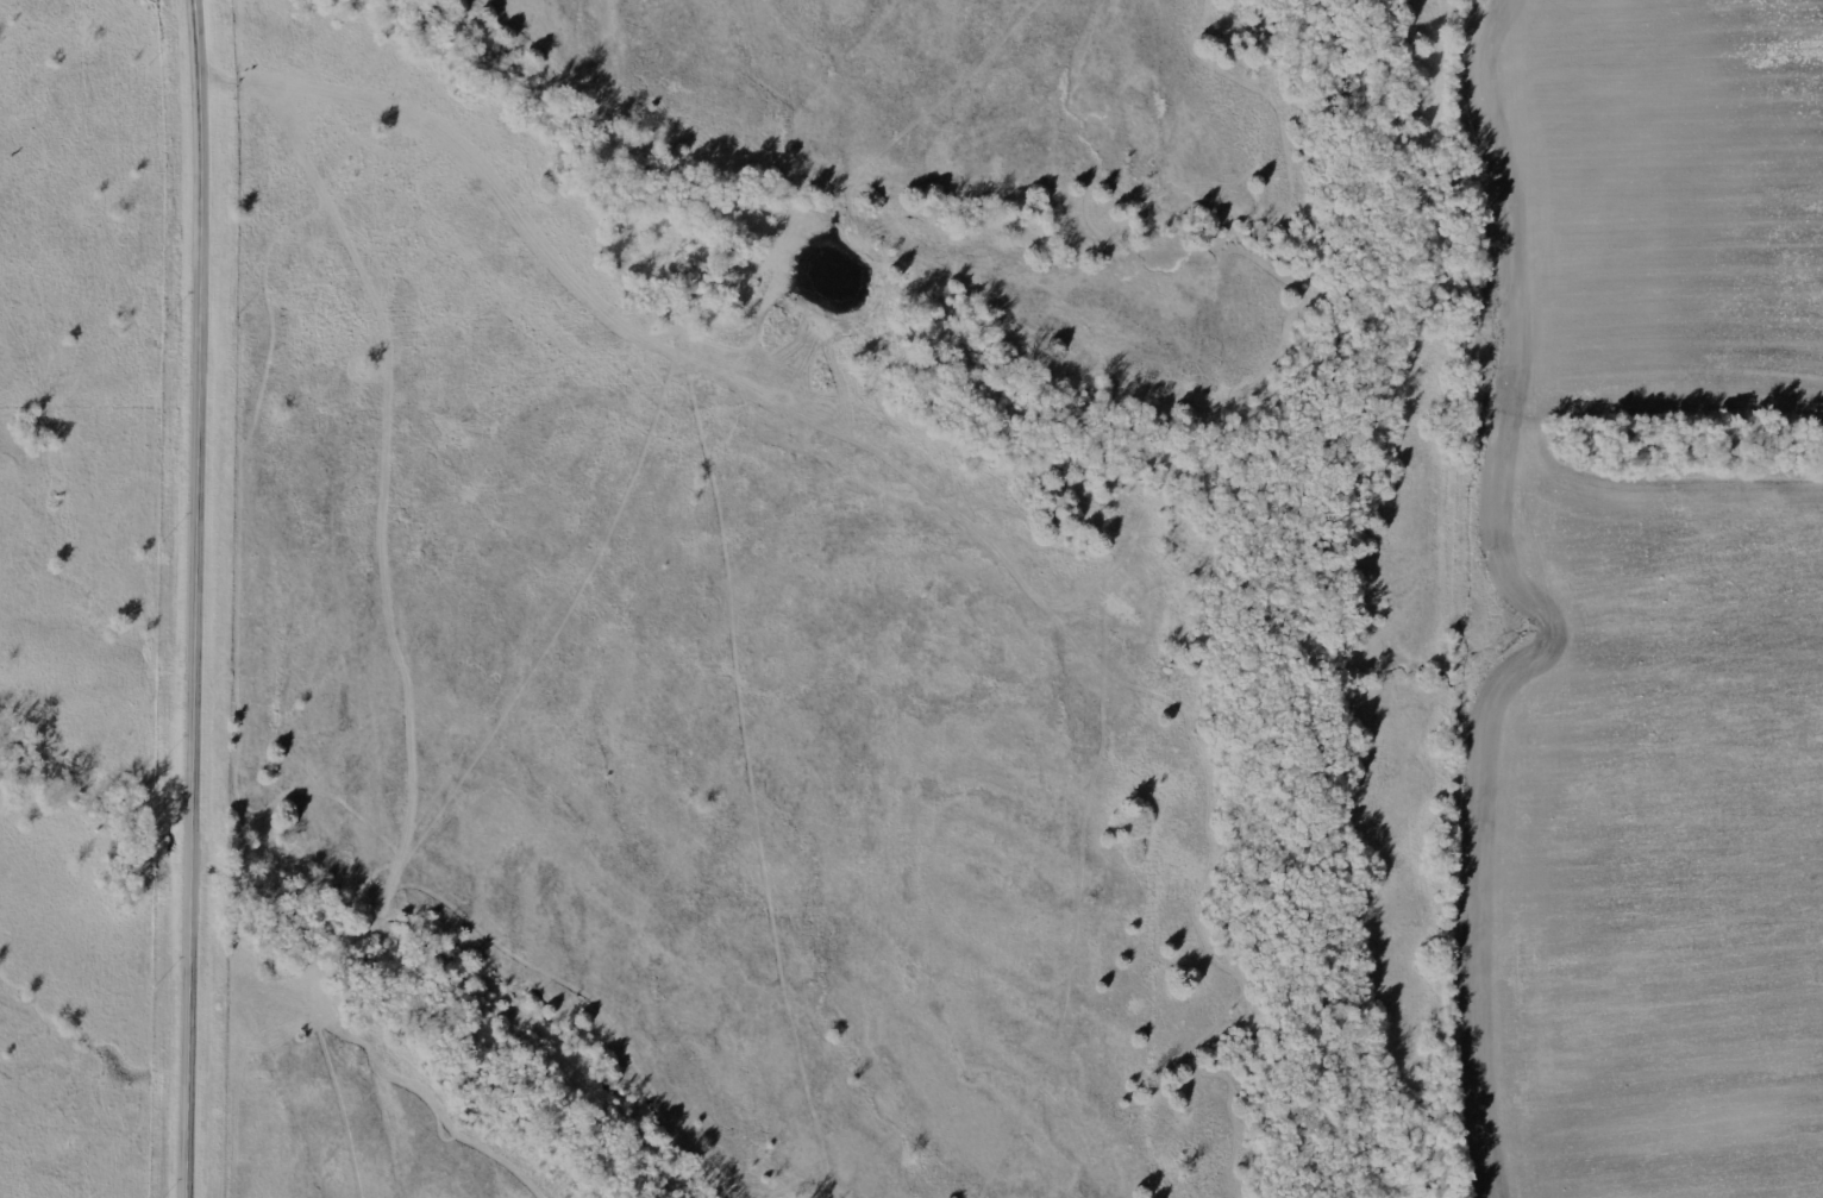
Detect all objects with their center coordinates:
road: (202, 598)

